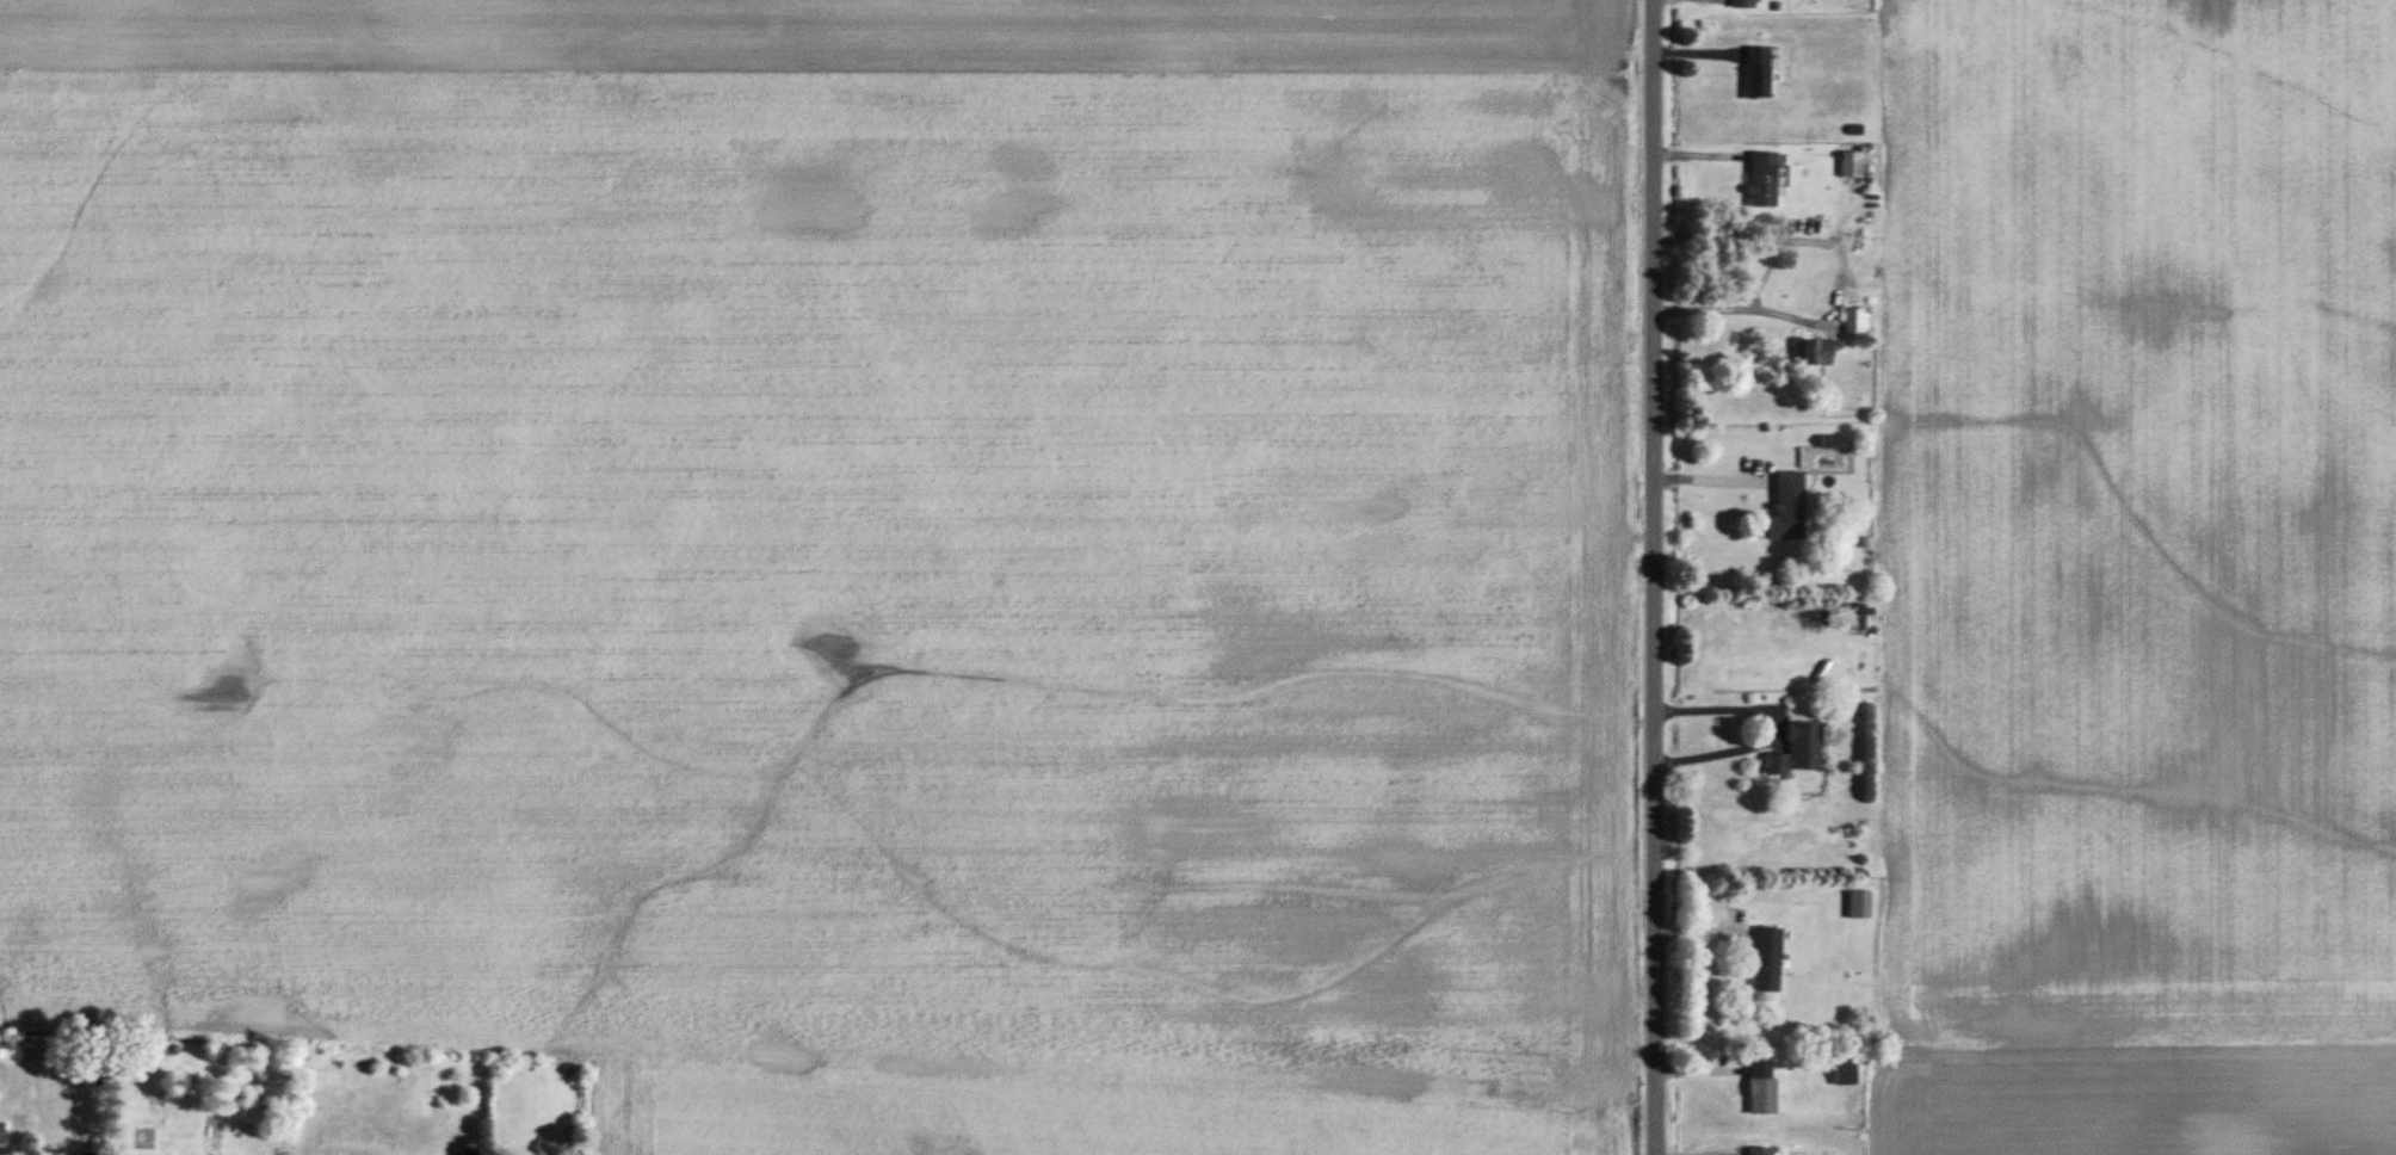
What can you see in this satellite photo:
building: (1742, 4)
building: (1758, 73)
building: (1854, 163)
building: (1762, 180)
road: (1760, 303)
building: (1857, 322)
building: (1816, 352)
building: (1797, 492)
road: (1649, 577)
building: (1854, 618)
road: (1770, 721)
building: (1798, 752)
building: (1858, 906)
building: (1767, 962)
building: (1845, 1075)
building: (1761, 1095)
building: (1, 1136)
building: (1761, 1150)
building: (87, 1154)

